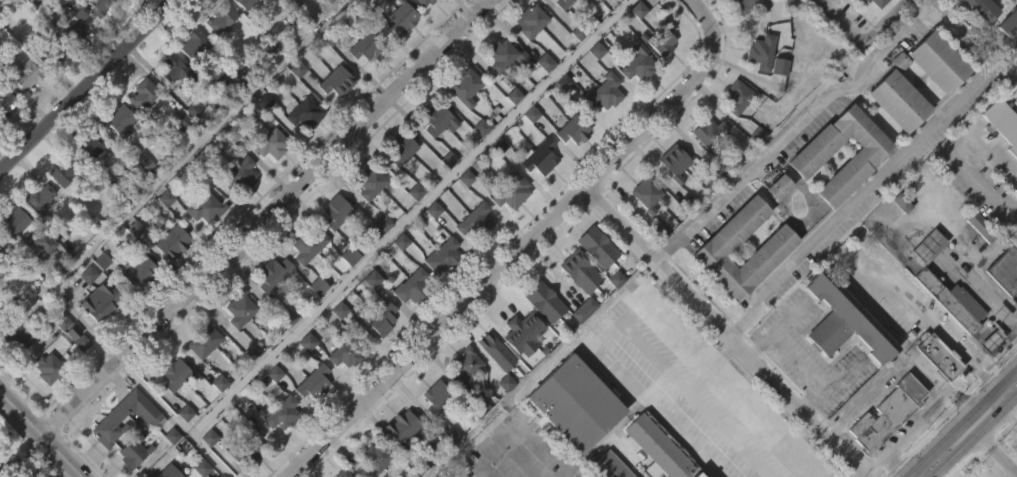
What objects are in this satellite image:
building: (583, 0)
building: (818, 0)
building: (342, 1)
building: (465, 1)
building: (860, 1)
building: (422, 2)
building: (880, 2)
building: (560, 3)
building: (247, 5)
building: (277, 7)
building: (750, 7)
building: (98, 8)
building: (985, 8)
road: (698, 10)
building: (218, 17)
building: (402, 18)
building: (846, 18)
building: (71, 19)
building: (528, 21)
building: (421, 24)
building: (565, 24)
building: (1008, 24)
building: (615, 26)
building: (245, 29)
building: (97, 35)
building: (745, 35)
road: (953, 35)
building: (969, 35)
building: (660, 37)
road: (860, 42)
building: (195, 46)
building: (365, 48)
building: (759, 51)
building: (52, 52)
building: (217, 54)
building: (398, 55)
building: (501, 55)
building: (526, 56)
building: (72, 59)
building: (940, 59)
building: (636, 63)
building: (173, 70)
building: (21, 72)
building: (190, 81)
building: (334, 81)
building: (597, 82)
road: (85, 83)
building: (362, 84)
building: (462, 87)
building: (51, 88)
building: (757, 88)
building: (499, 90)
building: (141, 93)
building: (604, 94)
building: (736, 97)
building: (934, 97)
building: (540, 98)
building: (635, 98)
building: (6, 99)
building: (899, 99)
building: (775, 102)
building: (168, 105)
building: (22, 109)
building: (300, 113)
building: (1004, 116)
building: (333, 118)
building: (125, 120)
building: (440, 121)
building: (460, 122)
building: (574, 129)
building: (600, 129)
building: (139, 130)
building: (509, 131)
building: (707, 133)
building: (733, 134)
building: (4, 136)
building: (893, 136)
building: (270, 144)
building: (94, 145)
building: (189, 146)
building: (402, 148)
building: (527, 149)
building: (301, 150)
building: (814, 153)
building: (116, 155)
building: (434, 155)
building: (541, 156)
road: (996, 156)
building: (177, 157)
building: (674, 159)
building: (1001, 161)
road: (171, 164)
building: (569, 166)
building: (706, 168)
building: (65, 172)
building: (237, 174)
road: (967, 176)
building: (368, 180)
building: (87, 182)
building: (265, 182)
building: (396, 185)
building: (780, 186)
building: (511, 190)
building: (863, 190)
building: (645, 191)
building: (536, 193)
building: (40, 196)
building: (670, 197)
building: (140, 198)
building: (202, 207)
building: (58, 209)
building: (238, 210)
building: (333, 211)
road: (266, 217)
road: (408, 217)
building: (365, 219)
building: (473, 219)
building: (18, 222)
building: (773, 222)
building: (980, 226)
building: (507, 227)
building: (644, 230)
building: (34, 233)
building: (1, 238)
building: (1014, 239)
building: (170, 241)
building: (201, 242)
building: (44, 243)
building: (305, 244)
building: (598, 246)
building: (928, 246)
building: (332, 248)
building: (715, 248)
building: (2, 252)
building: (444, 255)
road: (513, 255)
building: (470, 258)
building: (379, 259)
building: (975, 262)
building: (141, 270)
building: (1003, 270)
building: (580, 271)
building: (270, 273)
building: (169, 278)
building: (36, 281)
building: (769, 283)
building: (922, 283)
building: (413, 286)
building: (345, 291)
building: (439, 292)
building: (951, 300)
building: (104, 301)
building: (544, 301)
building: (1003, 302)
building: (135, 306)
building: (575, 307)
building: (237, 308)
building: (269, 309)
building: (611, 314)
building: (376, 318)
road: (664, 319)
building: (841, 319)
building: (313, 321)
building: (409, 321)
road: (722, 332)
building: (520, 333)
building: (947, 336)
building: (19, 337)
building: (539, 337)
building: (95, 339)
building: (201, 339)
building: (579, 345)
building: (235, 346)
building: (494, 350)
building: (346, 352)
building: (283, 353)
building: (375, 354)
building: (936, 355)
building: (839, 357)
building: (464, 364)
road: (894, 365)
building: (51, 368)
road: (805, 368)
building: (519, 369)
building: (14, 373)
building: (74, 373)
building: (173, 374)
building: (986, 375)
building: (199, 376)
building: (311, 381)
building: (248, 386)
building: (492, 387)
building: (341, 390)
building: (934, 391)
building: (435, 396)
building: (462, 401)
building: (45, 404)
building: (577, 404)
building: (171, 409)
road: (754, 409)
building: (281, 412)
building: (885, 413)
road: (1010, 415)
building: (309, 417)
building: (501, 418)
building: (119, 419)
road: (174, 419)
road: (959, 421)
building: (399, 425)
road: (910, 428)
building: (433, 432)
road: (42, 434)
building: (570, 437)
road: (975, 437)
road: (990, 445)
building: (246, 446)
building: (657, 446)
building: (884, 446)
building: (181, 448)
building: (278, 449)
parking lot: (740, 449)
building: (131, 451)
road: (884, 453)
building: (374, 456)
building: (399, 460)
building: (608, 465)
road: (996, 469)
building: (165, 471)
building: (206, 471)
building: (251, 471)
building: (340, 472)
building: (23, 473)
road: (933, 476)

